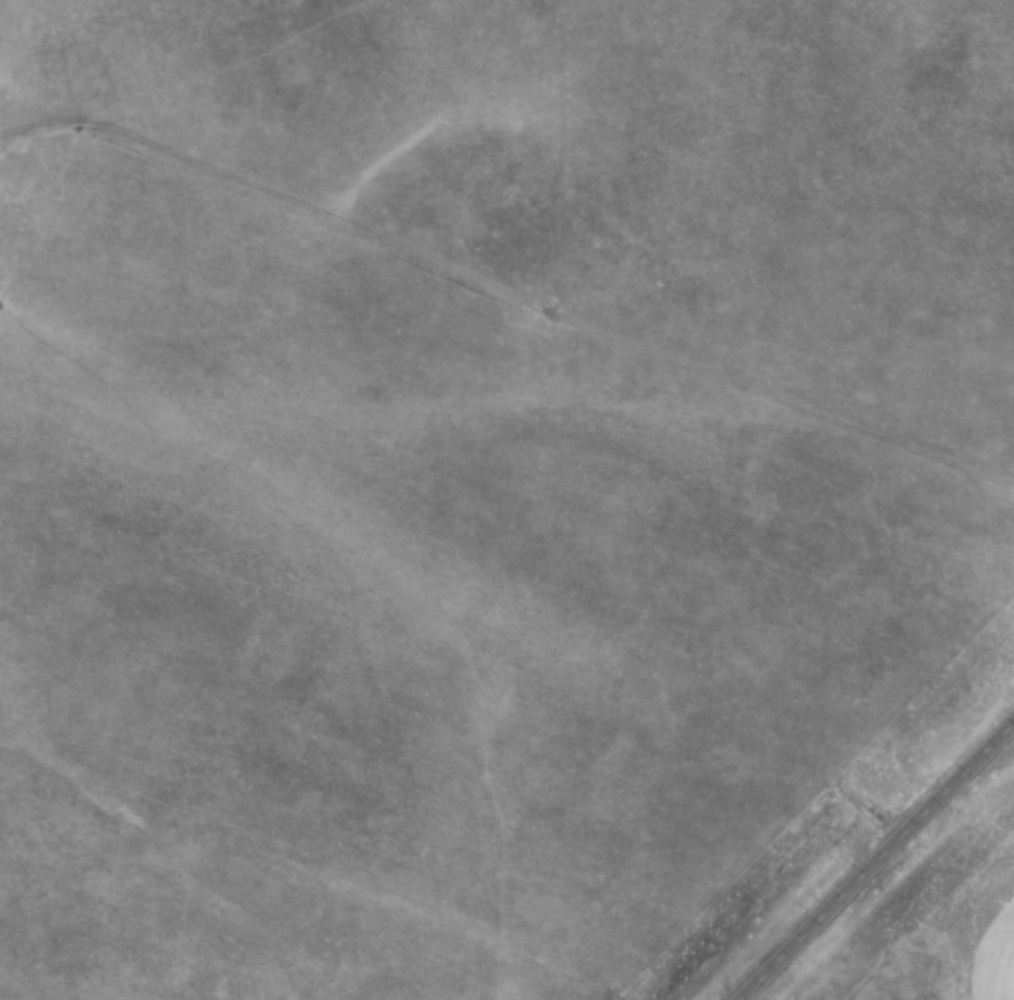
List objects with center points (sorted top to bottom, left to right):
road: (879, 864)

